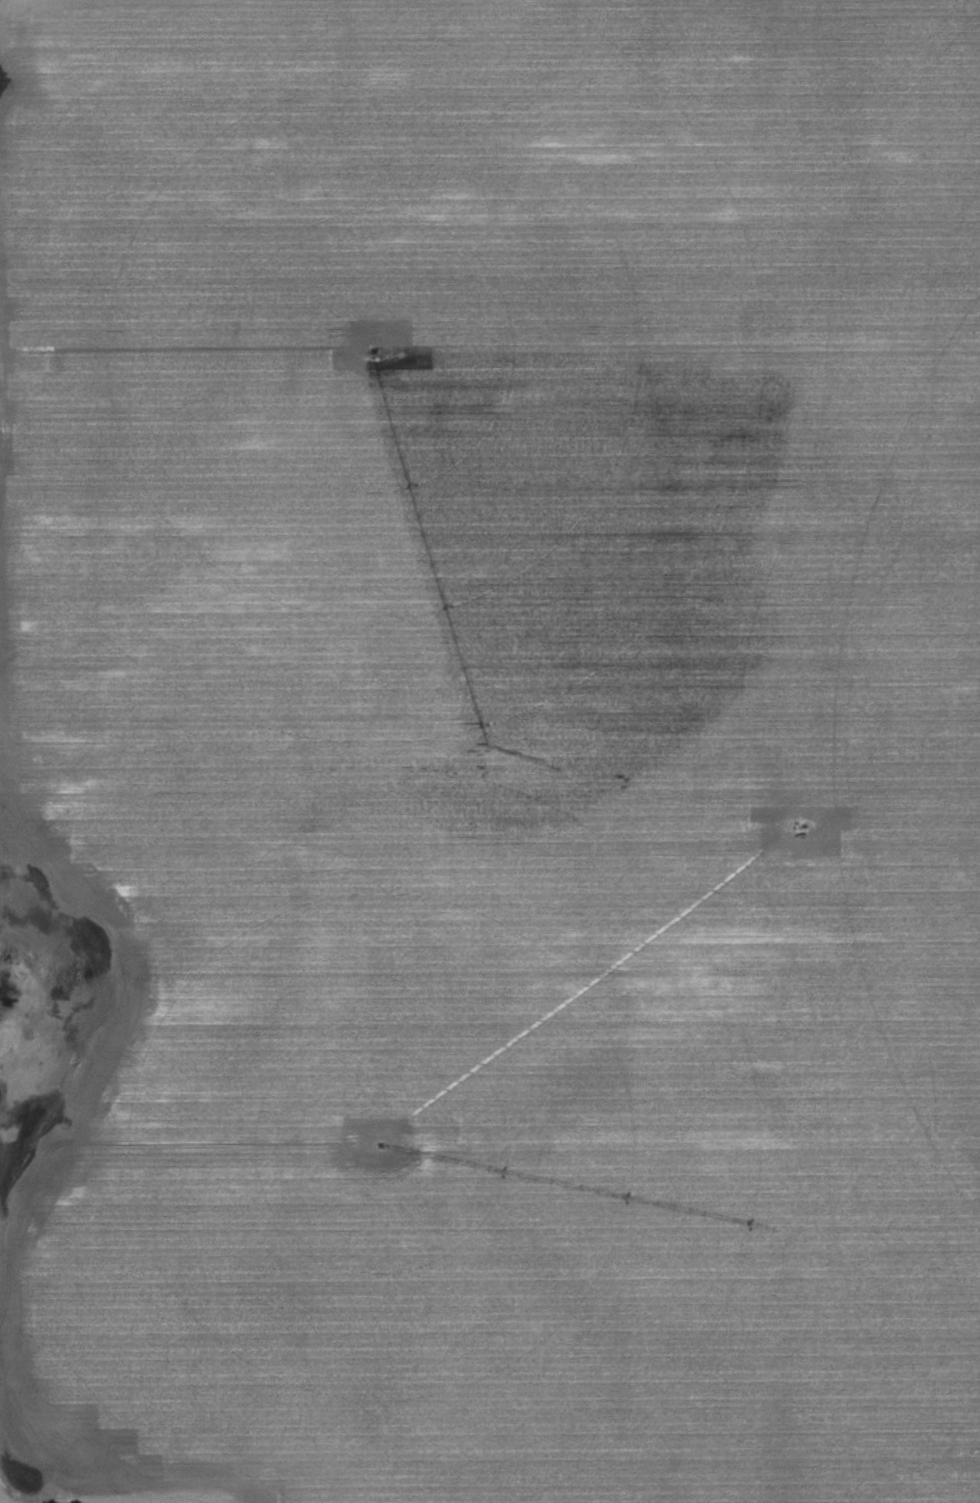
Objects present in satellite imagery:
crop: (493, 748)

